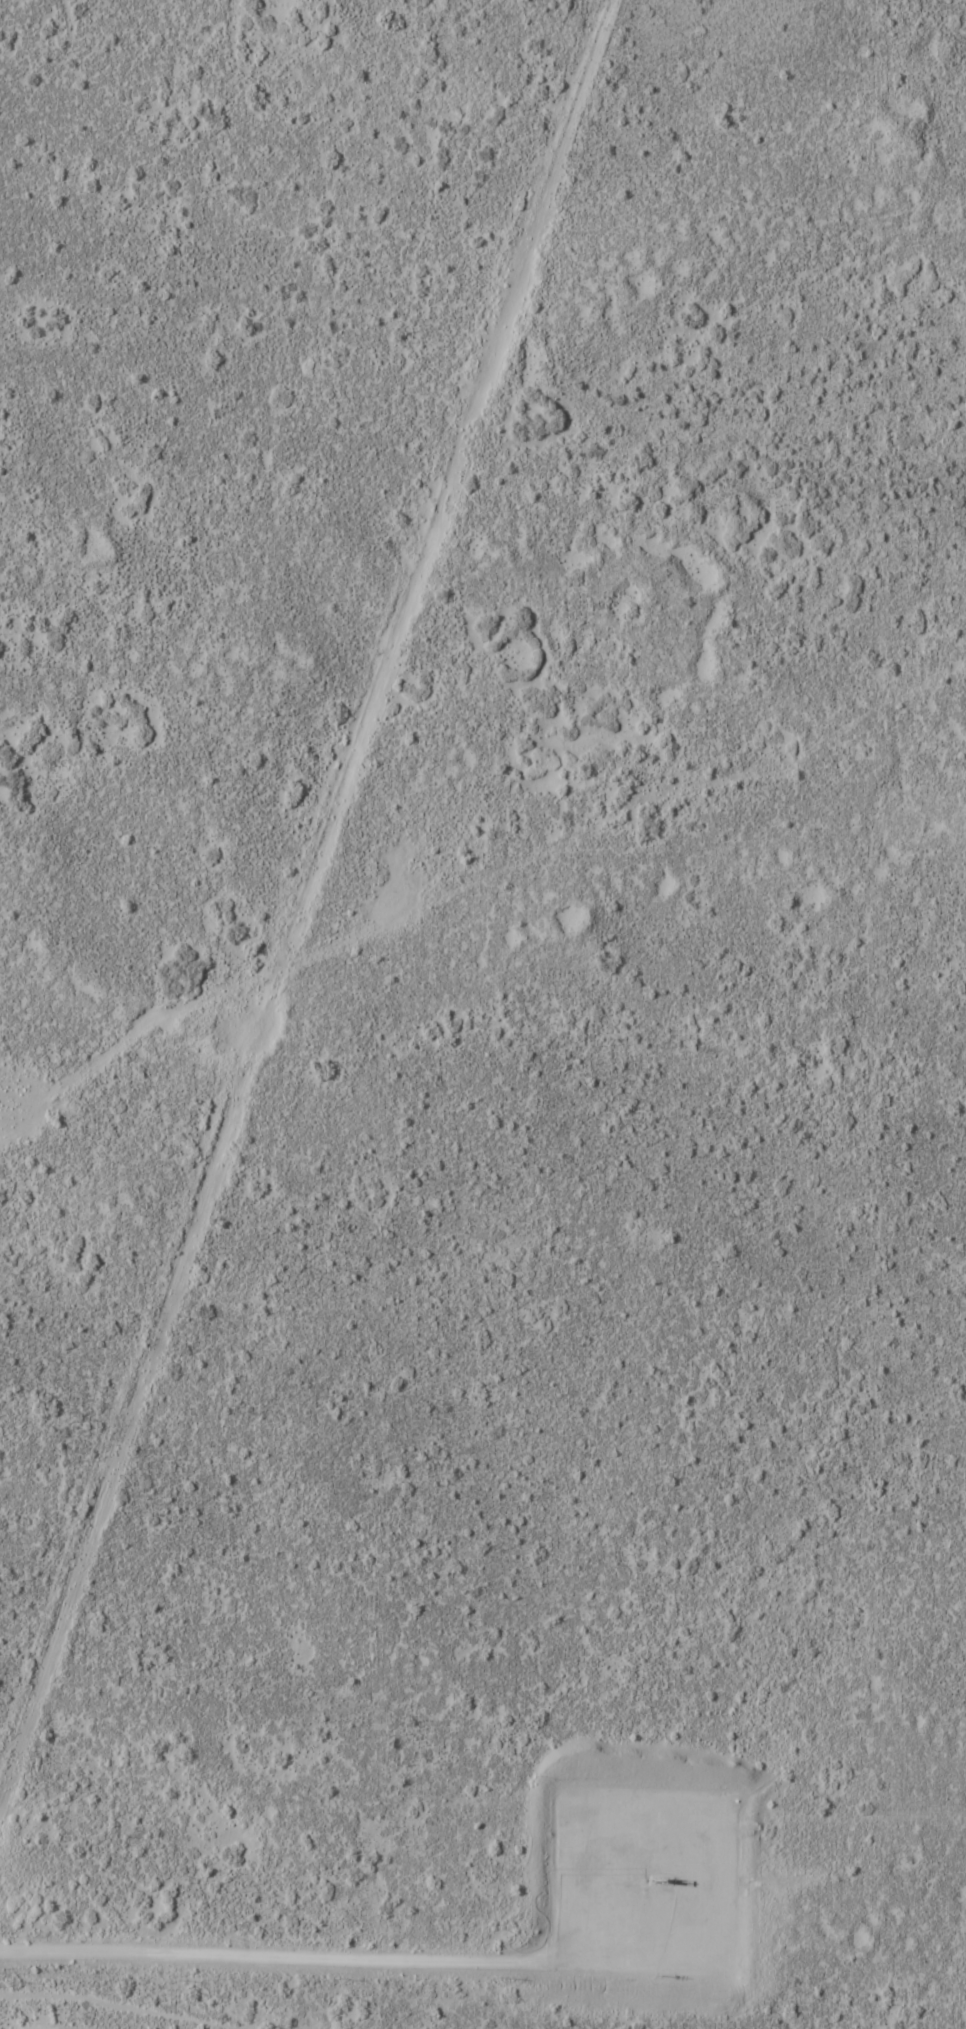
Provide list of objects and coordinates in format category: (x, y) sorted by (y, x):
petroleum well: (649, 1872)
road: (268, 1963)

